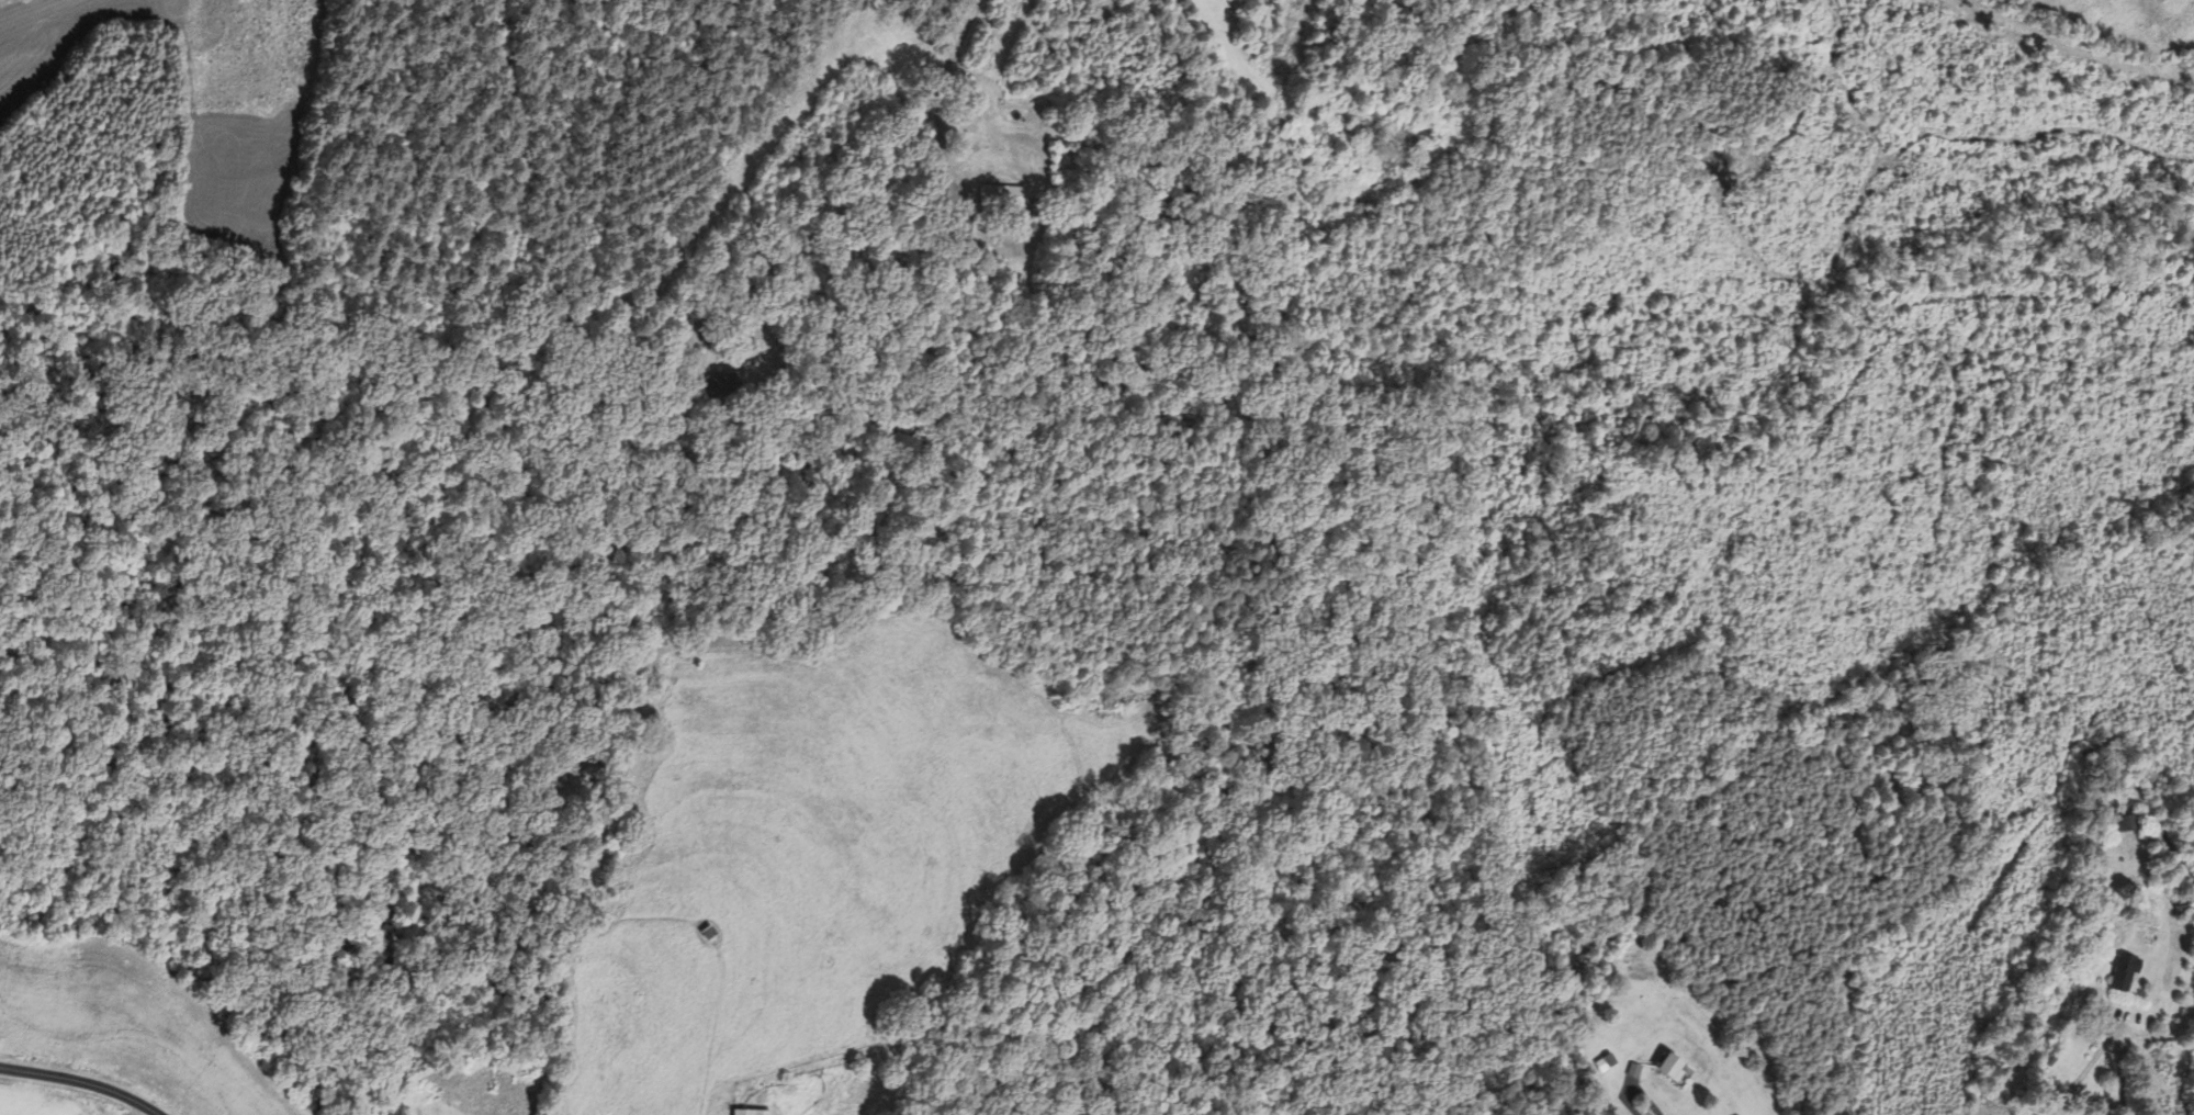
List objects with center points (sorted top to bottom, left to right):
road: (1201, 89)
building: (1421, 135)
road: (811, 185)
building: (1001, 194)
building: (960, 224)
building: (715, 388)
building: (2124, 823)
building: (2123, 972)
building: (1605, 1061)
building: (1670, 1067)
road: (82, 1082)
road: (1642, 1095)
building: (751, 1112)

